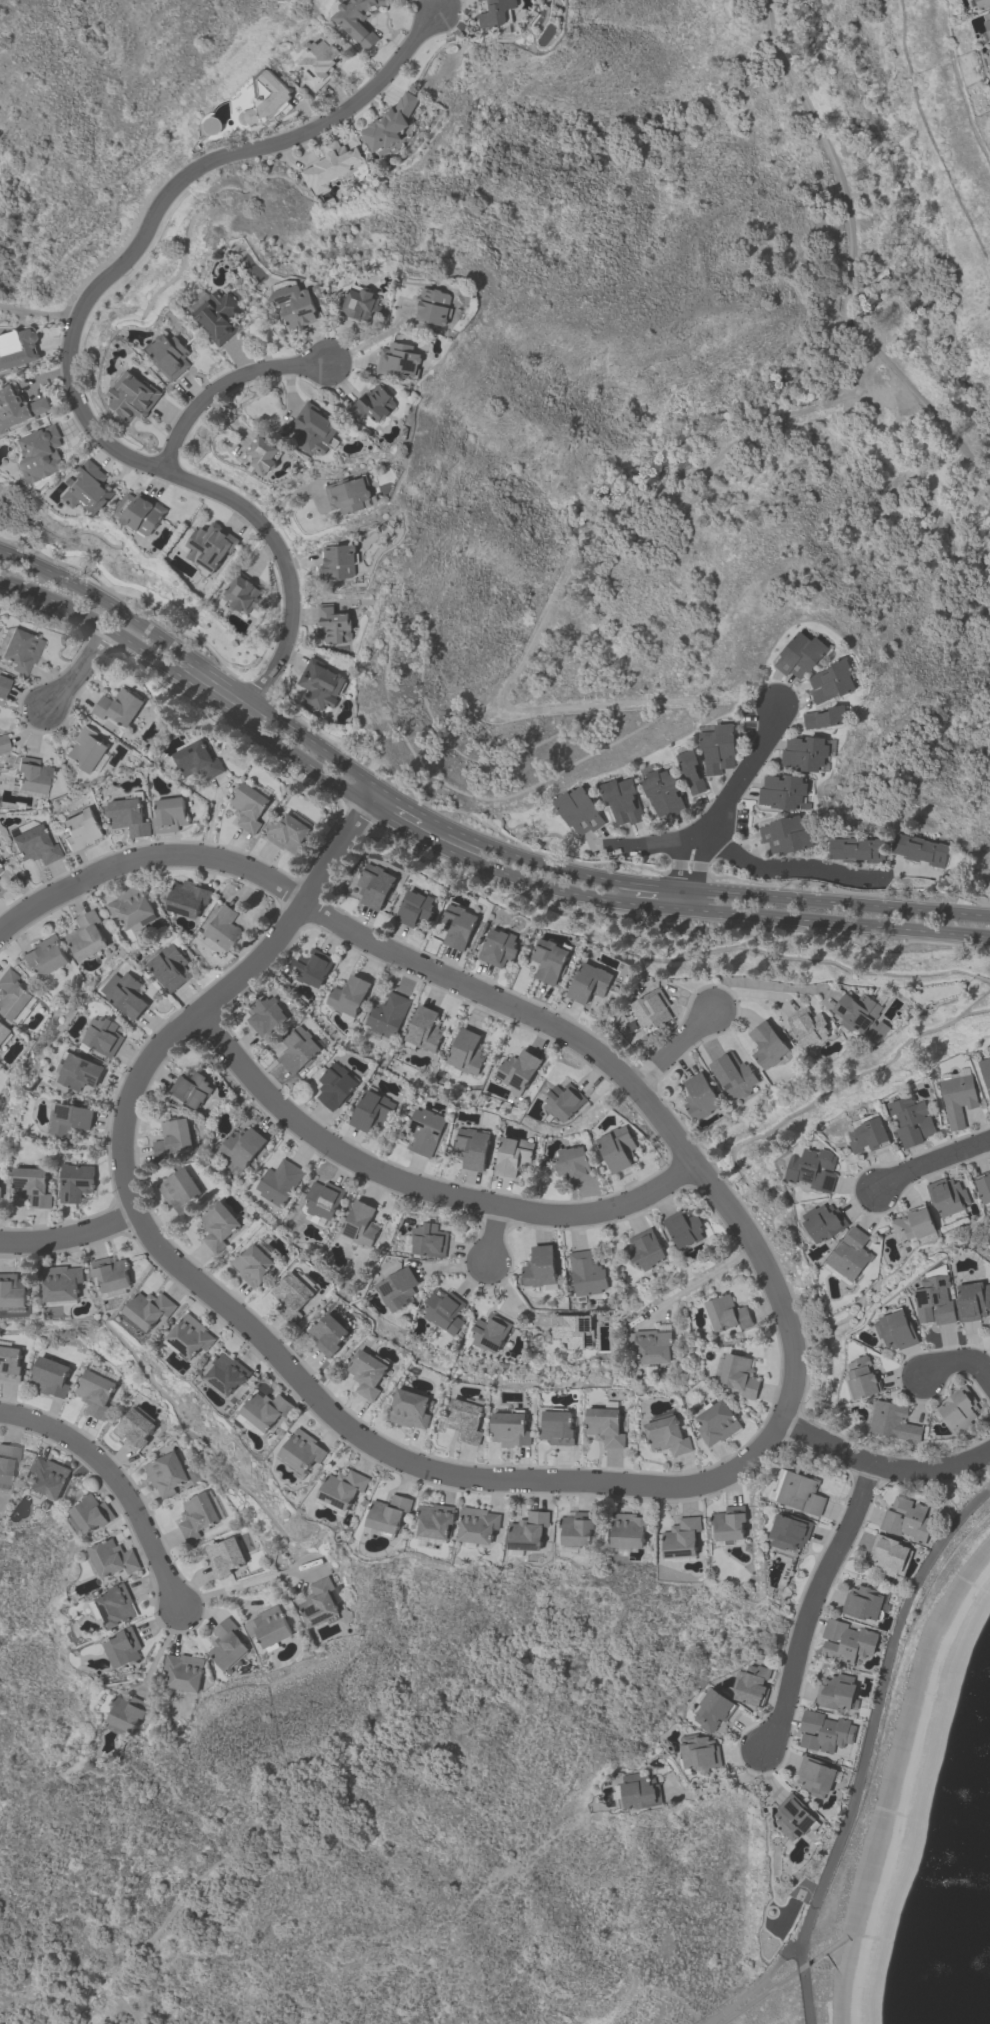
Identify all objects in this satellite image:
building: (480, 0)
building: (983, 3)
road: (440, 5)
building: (497, 13)
building: (987, 20)
building: (357, 21)
building: (317, 61)
building: (267, 99)
park: (106, 119)
building: (211, 126)
building: (393, 126)
building: (331, 166)
road: (855, 254)
building: (360, 301)
building: (297, 303)
building: (434, 306)
building: (830, 308)
building: (218, 316)
road: (72, 337)
road: (373, 339)
building: (17, 348)
building: (169, 356)
building: (399, 360)
road: (221, 388)
building: (131, 395)
park: (671, 395)
building: (374, 404)
building: (17, 407)
building: (315, 430)
building: (38, 455)
building: (262, 456)
building: (88, 489)
building: (349, 494)
building: (139, 513)
building: (209, 547)
building: (338, 562)
park: (134, 576)
building: (243, 595)
building: (334, 624)
building: (19, 649)
building: (793, 653)
building: (810, 658)
road: (193, 660)
road: (76, 668)
building: (831, 673)
building: (3, 684)
building: (320, 684)
building: (833, 689)
building: (118, 707)
building: (826, 718)
building: (3, 743)
building: (726, 743)
building: (810, 745)
building: (86, 750)
building: (710, 753)
building: (197, 761)
building: (801, 761)
building: (691, 771)
building: (31, 774)
road: (328, 777)
building: (787, 784)
building: (672, 793)
building: (655, 794)
road: (727, 797)
building: (779, 798)
building: (614, 800)
building: (631, 801)
road: (402, 802)
building: (249, 807)
building: (587, 808)
building: (571, 813)
building: (129, 815)
building: (169, 815)
building: (80, 828)
building: (780, 829)
building: (288, 834)
road: (649, 843)
building: (792, 843)
building: (33, 845)
building: (857, 849)
building: (919, 849)
road: (807, 866)
building: (0, 869)
building: (0, 875)
building: (376, 887)
road: (702, 890)
building: (186, 898)
road: (685, 899)
building: (130, 907)
building: (416, 910)
road: (837, 922)
building: (460, 928)
building: (223, 929)
building: (86, 936)
building: (499, 949)
building: (45, 956)
building: (550, 961)
building: (169, 967)
building: (313, 969)
building: (589, 983)
road: (761, 984)
building: (11, 995)
building: (125, 995)
building: (348, 996)
road: (496, 1000)
building: (653, 1009)
building: (859, 1012)
building: (388, 1015)
building: (266, 1017)
building: (808, 1028)
building: (424, 1030)
building: (4, 1032)
building: (879, 1033)
building: (103, 1036)
building: (768, 1045)
building: (299, 1049)
road: (677, 1050)
building: (467, 1053)
building: (517, 1070)
building: (79, 1071)
building: (986, 1072)
building: (735, 1077)
building: (335, 1086)
building: (191, 1087)
building: (700, 1097)
building: (959, 1099)
building: (562, 1100)
building: (373, 1111)
building: (70, 1119)
building: (914, 1120)
building: (425, 1131)
building: (867, 1134)
building: (173, 1138)
road: (331, 1144)
building: (241, 1146)
building: (472, 1148)
building: (618, 1148)
building: (513, 1156)
building: (574, 1164)
road: (933, 1166)
building: (814, 1170)
building: (75, 1182)
building: (279, 1183)
building: (31, 1186)
building: (984, 1186)
building: (0, 1190)
building: (180, 1191)
building: (948, 1198)
building: (323, 1199)
road: (606, 1211)
building: (825, 1223)
building: (359, 1224)
building: (915, 1225)
building: (218, 1226)
building: (683, 1228)
road: (497, 1236)
road: (71, 1237)
building: (428, 1240)
building: (645, 1249)
building: (851, 1256)
building: (252, 1265)
building: (540, 1267)
building: (110, 1274)
building: (586, 1274)
road: (707, 1277)
building: (61, 1283)
building: (397, 1289)
building: (12, 1291)
building: (292, 1297)
road: (514, 1299)
building: (936, 1302)
building: (974, 1302)
road: (226, 1306)
building: (148, 1309)
building: (444, 1311)
building: (726, 1312)
building: (573, 1330)
building: (896, 1330)
building: (490, 1333)
building: (328, 1335)
building: (189, 1337)
building: (653, 1346)
road: (959, 1361)
building: (9, 1364)
building: (227, 1373)
building: (367, 1374)
building: (739, 1375)
building: (50, 1377)
building: (865, 1380)
building: (95, 1393)
building: (410, 1409)
building: (959, 1409)
building: (264, 1410)
building: (465, 1420)
building: (894, 1422)
building: (716, 1423)
building: (605, 1426)
building: (557, 1427)
building: (509, 1428)
building: (133, 1429)
building: (667, 1435)
building: (301, 1450)
building: (7, 1461)
road: (882, 1468)
building: (165, 1473)
building: (46, 1479)
road: (123, 1486)
building: (341, 1489)
building: (801, 1492)
building: (91, 1513)
building: (388, 1514)
building: (196, 1517)
building: (907, 1519)
building: (435, 1520)
building: (729, 1524)
building: (476, 1525)
building: (576, 1529)
building: (628, 1530)
building: (528, 1531)
building: (789, 1531)
building: (681, 1538)
building: (889, 1556)
building: (224, 1557)
building: (113, 1559)
road: (244, 1585)
building: (318, 1603)
building: (865, 1603)
road: (809, 1606)
building: (113, 1608)
building: (269, 1627)
building: (846, 1642)
building: (226, 1645)
building: (123, 1649)
building: (183, 1673)
building: (754, 1686)
building: (836, 1692)
building: (714, 1711)
building: (129, 1715)
building: (825, 1732)
road: (864, 1744)
building: (700, 1754)
building: (816, 1776)
road: (722, 1784)
dam: (894, 1784)
building: (638, 1795)
building: (793, 1818)
road: (755, 1988)

